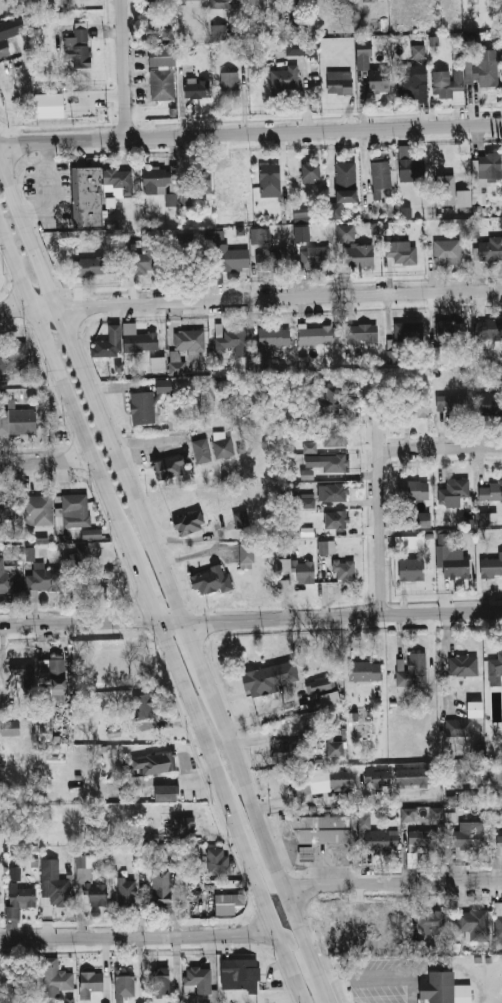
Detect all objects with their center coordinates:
building: (156, 0)
building: (192, 0)
building: (296, 0)
building: (369, 0)
building: (501, 1)
building: (340, 2)
building: (232, 3)
building: (291, 30)
building: (219, 32)
building: (4, 41)
building: (77, 47)
building: (296, 48)
building: (364, 48)
building: (418, 50)
building: (161, 55)
building: (501, 60)
road: (126, 67)
building: (486, 68)
building: (283, 79)
building: (379, 79)
building: (410, 80)
building: (340, 82)
building: (230, 83)
building: (162, 84)
building: (448, 85)
building: (196, 89)
building: (48, 105)
road: (250, 131)
building: (411, 168)
building: (484, 172)
building: (310, 173)
building: (381, 174)
building: (199, 178)
building: (119, 180)
building: (156, 180)
building: (269, 180)
building: (343, 185)
building: (445, 190)
building: (89, 196)
building: (170, 199)
building: (406, 212)
building: (301, 214)
building: (375, 228)
building: (301, 233)
building: (346, 233)
building: (489, 250)
building: (447, 251)
building: (267, 253)
building: (401, 253)
building: (226, 254)
building: (358, 255)
building: (318, 256)
building: (144, 257)
building: (88, 266)
road: (250, 301)
building: (490, 329)
building: (410, 330)
building: (450, 331)
building: (362, 333)
building: (315, 335)
building: (274, 337)
building: (230, 339)
building: (190, 341)
building: (139, 342)
building: (106, 343)
building: (13, 359)
building: (157, 364)
building: (177, 368)
road: (62, 376)
building: (163, 386)
road: (92, 395)
building: (452, 403)
building: (490, 404)
building: (333, 405)
building: (415, 407)
building: (141, 409)
building: (17, 421)
building: (328, 436)
building: (221, 449)
building: (308, 450)
road: (441, 450)
building: (200, 453)
building: (327, 463)
road: (49, 465)
building: (166, 470)
building: (305, 476)
building: (490, 489)
building: (413, 490)
building: (335, 492)
building: (453, 492)
road: (380, 498)
building: (306, 502)
building: (8, 508)
building: (38, 510)
building: (75, 511)
building: (240, 519)
building: (336, 519)
building: (482, 519)
building: (423, 520)
building: (187, 524)
building: (306, 533)
building: (91, 534)
building: (409, 542)
building: (326, 547)
building: (30, 553)
building: (245, 557)
building: (81, 558)
building: (451, 559)
building: (492, 566)
building: (411, 569)
building: (342, 570)
building: (302, 571)
road: (141, 574)
building: (10, 578)
building: (41, 580)
building: (209, 582)
road: (250, 619)
building: (463, 665)
building: (57, 667)
building: (19, 669)
building: (412, 670)
building: (496, 670)
road: (205, 671)
building: (364, 671)
building: (271, 681)
building: (319, 684)
building: (330, 698)
road: (187, 702)
building: (142, 705)
building: (47, 709)
building: (465, 720)
building: (10, 728)
building: (336, 747)
building: (284, 751)
building: (154, 762)
building: (474, 771)
building: (413, 776)
building: (377, 777)
building: (341, 778)
building: (134, 783)
building: (300, 784)
building: (165, 791)
road: (222, 798)
road: (344, 799)
road: (251, 805)
building: (436, 812)
building: (408, 814)
building: (180, 827)
building: (323, 827)
building: (468, 834)
building: (499, 838)
building: (382, 840)
building: (424, 840)
building: (304, 852)
gas station: (304, 852)
road: (254, 853)
building: (218, 860)
road: (251, 874)
building: (160, 884)
building: (92, 886)
road: (425, 886)
road: (315, 888)
building: (127, 891)
building: (59, 896)
building: (20, 899)
building: (229, 901)
building: (432, 919)
building: (499, 922)
building: (474, 924)
road: (250, 935)
road: (112, 936)
road: (303, 939)
road: (300, 960)
road: (289, 968)
building: (240, 973)
building: (56, 975)
road: (372, 976)
parking lot: (381, 979)
building: (25, 980)
building: (200, 980)
building: (1, 981)
building: (160, 982)
building: (91, 984)
building: (124, 986)
building: (447, 989)
road: (327, 997)

